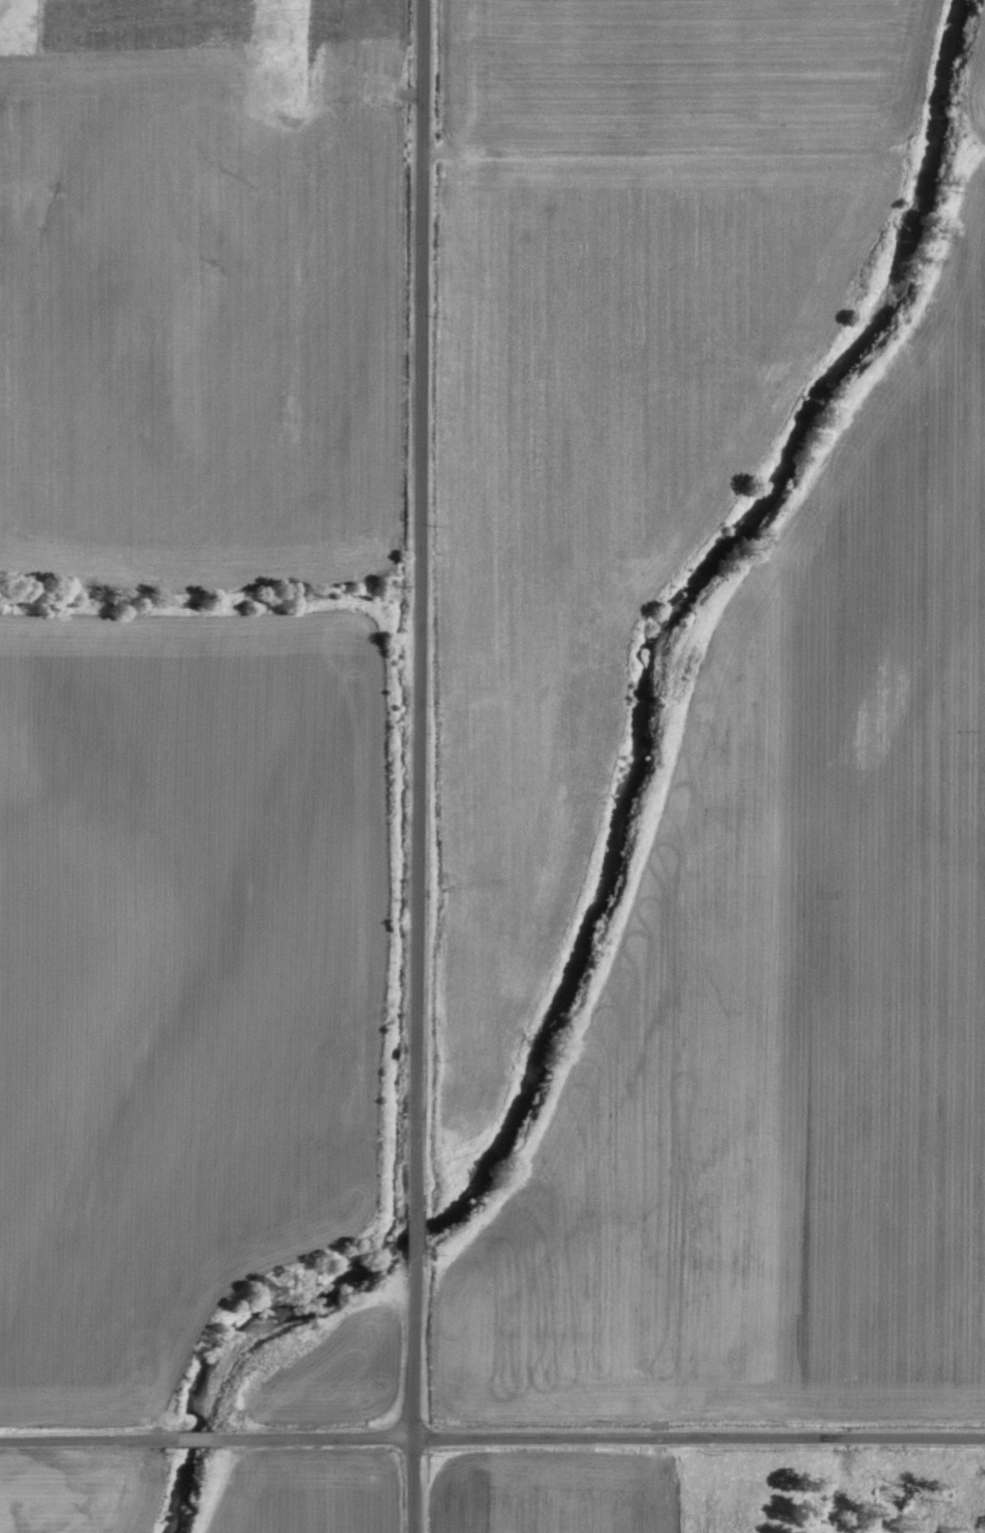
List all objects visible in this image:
road: (422, 603)
road: (418, 1230)
road: (416, 1393)
road: (599, 1439)
road: (196, 1440)
road: (89, 1443)

